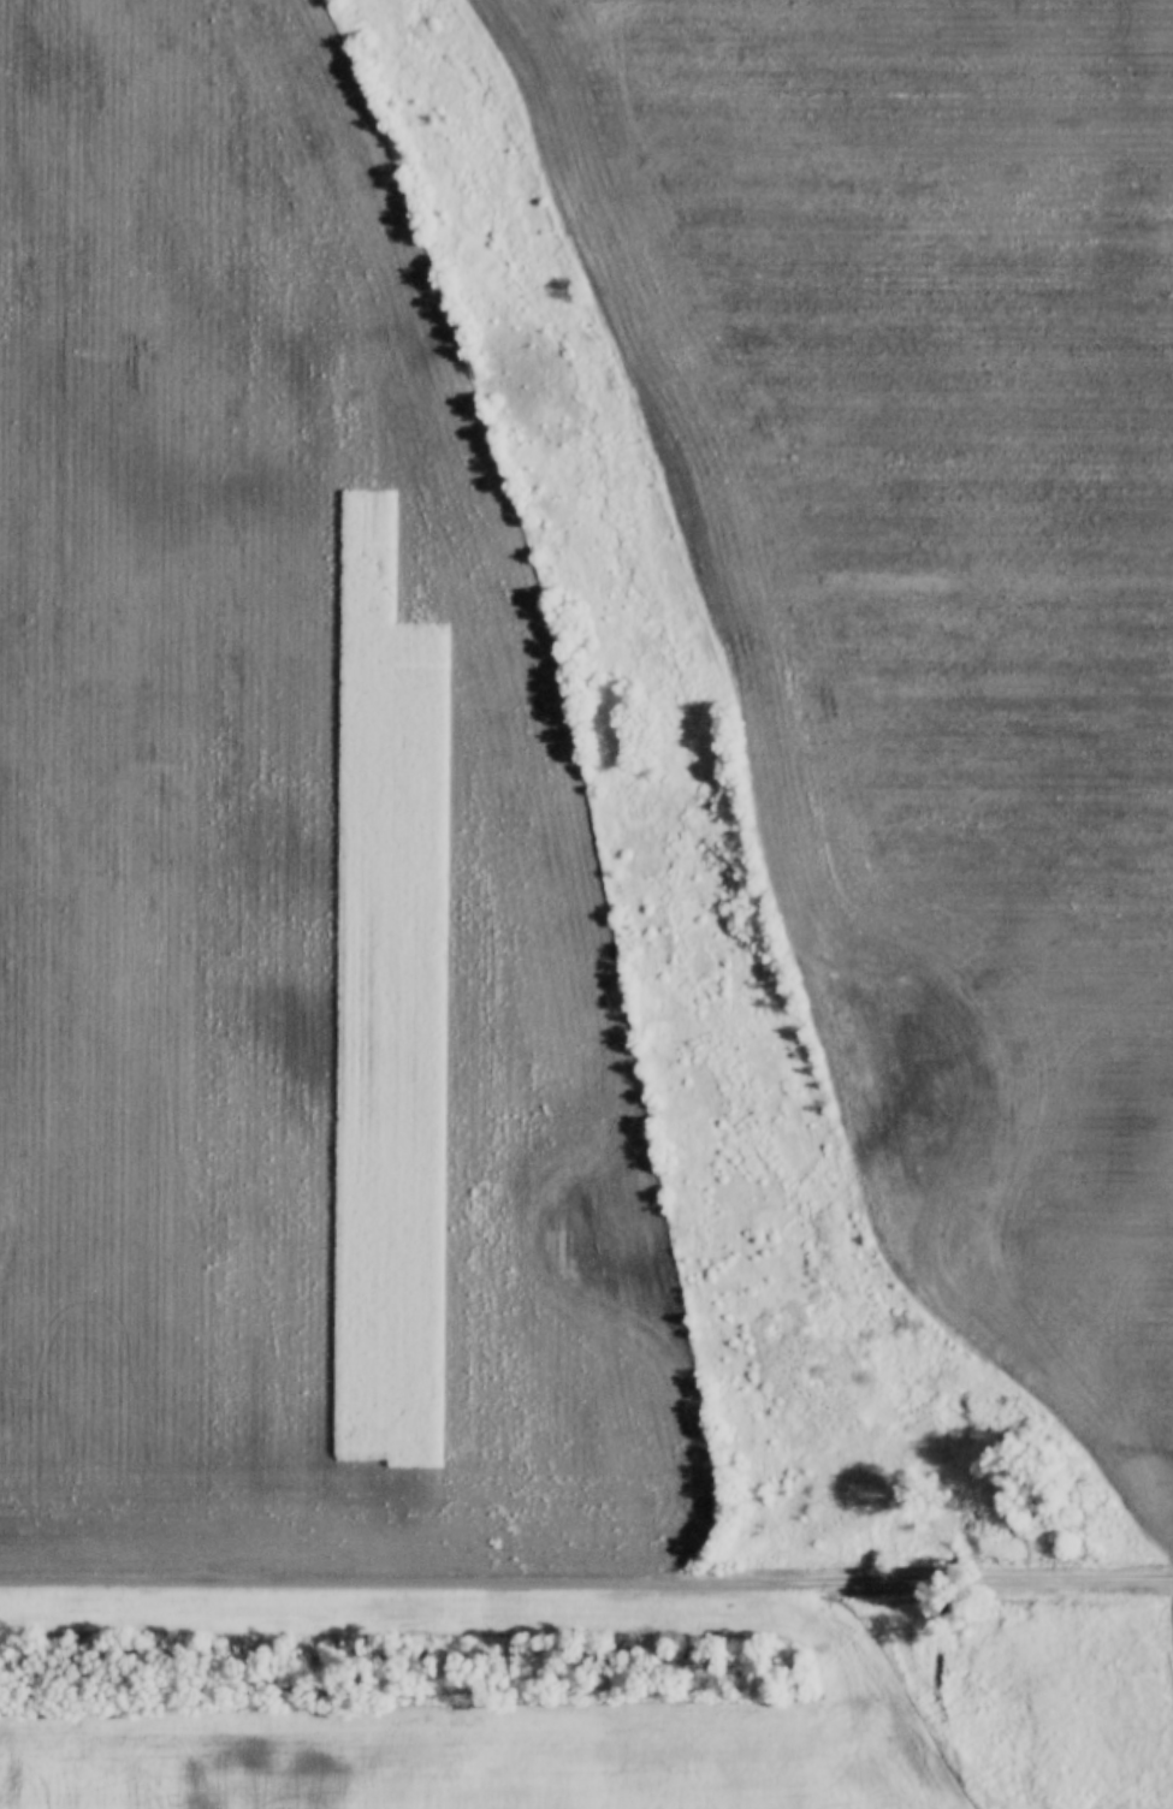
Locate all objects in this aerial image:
road: (586, 1580)

